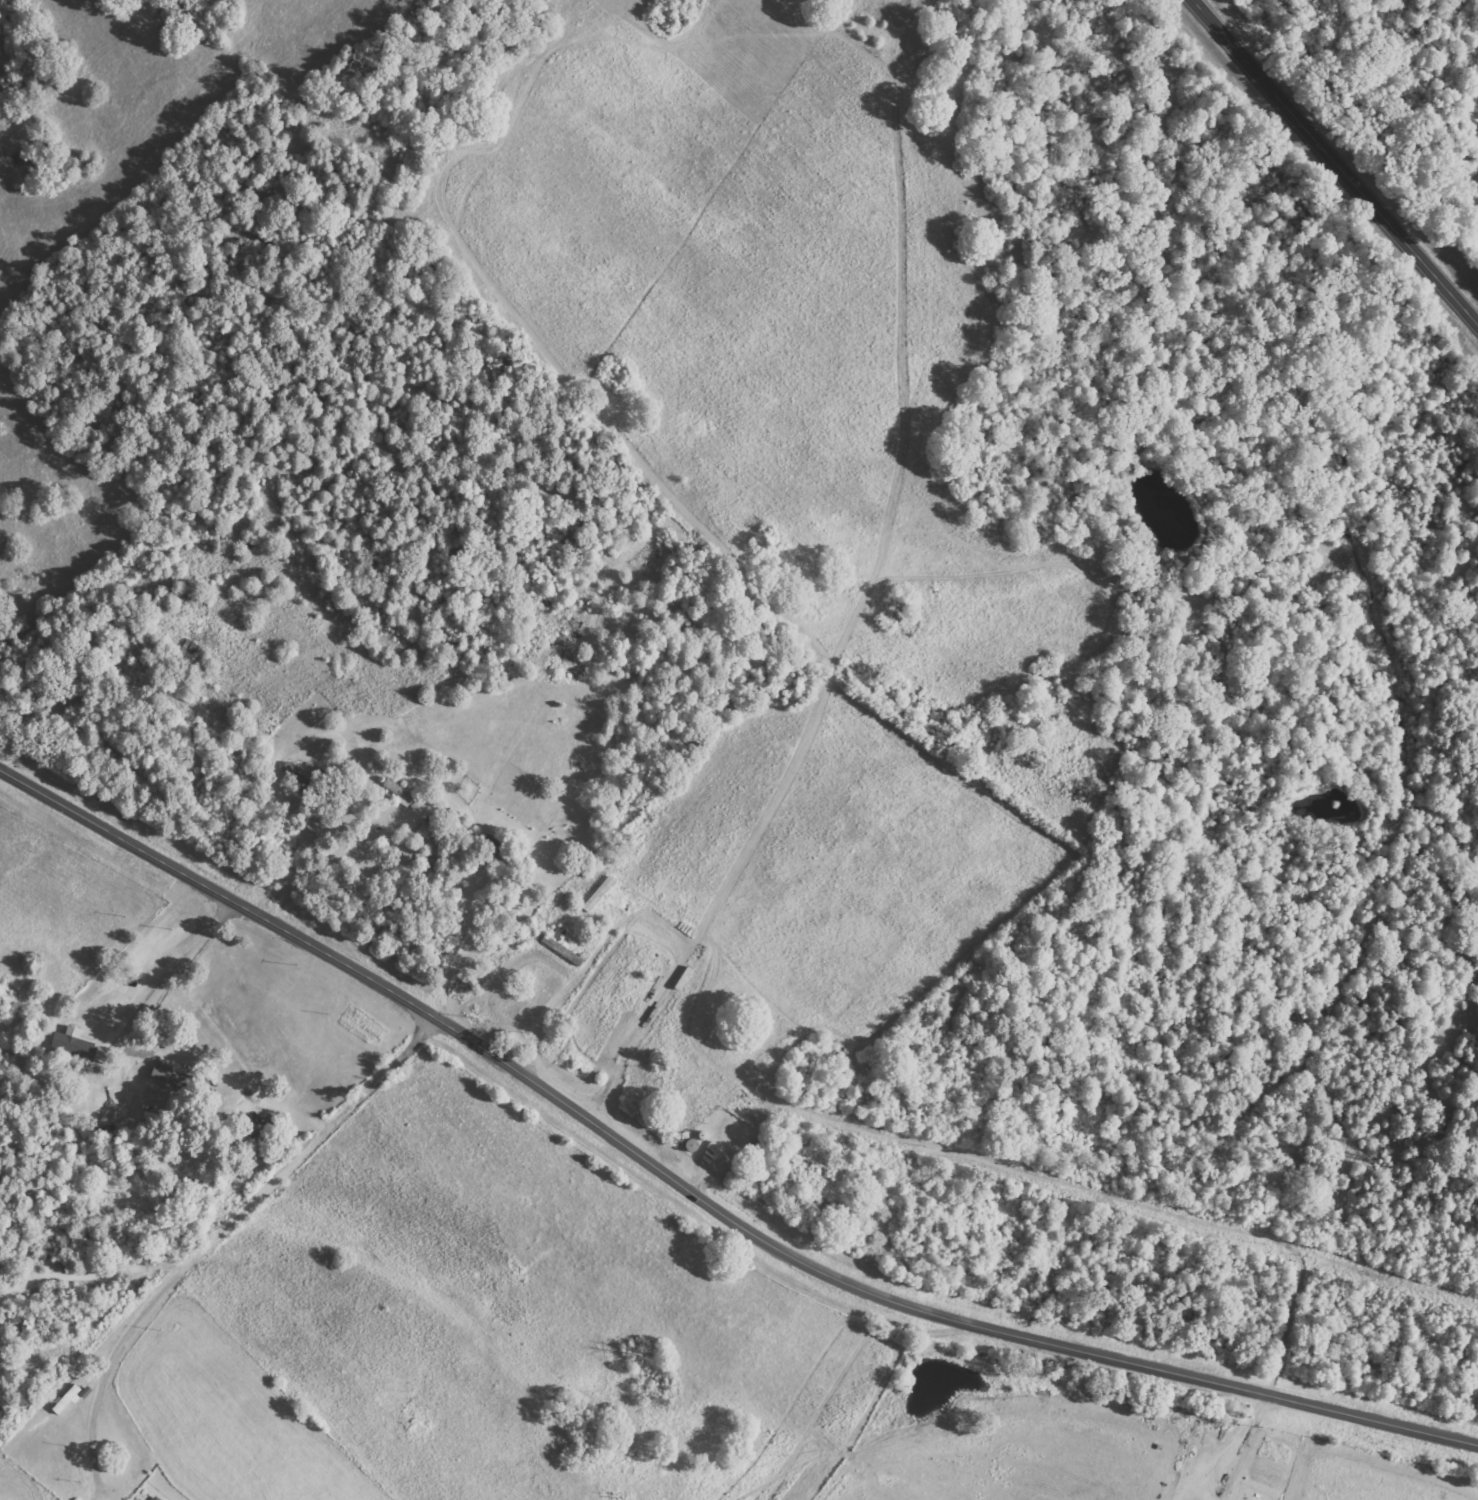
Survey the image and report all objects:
road: (1335, 161)
building: (293, 776)
building: (397, 793)
building: (493, 843)
road: (29, 849)
building: (559, 946)
building: (713, 1149)
road: (699, 1199)
road: (150, 1223)
road: (229, 1235)
road: (634, 1282)
road: (992, 1422)
building: (153, 1498)

